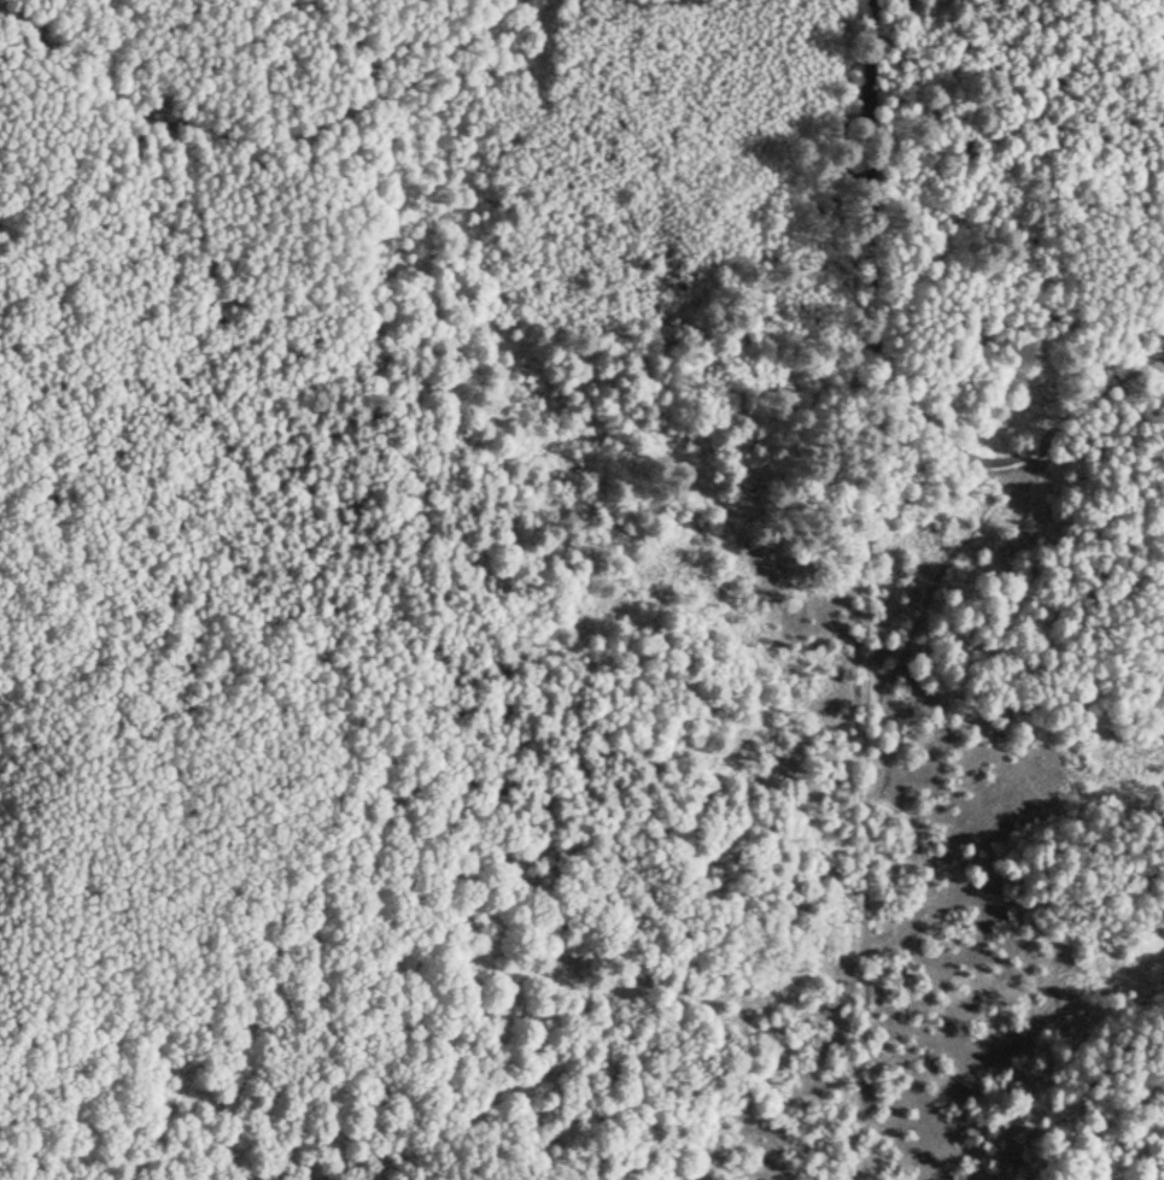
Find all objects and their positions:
road: (675, 1)
road: (291, 129)
road: (1124, 225)
road: (1013, 464)
road: (865, 591)
road: (913, 624)

